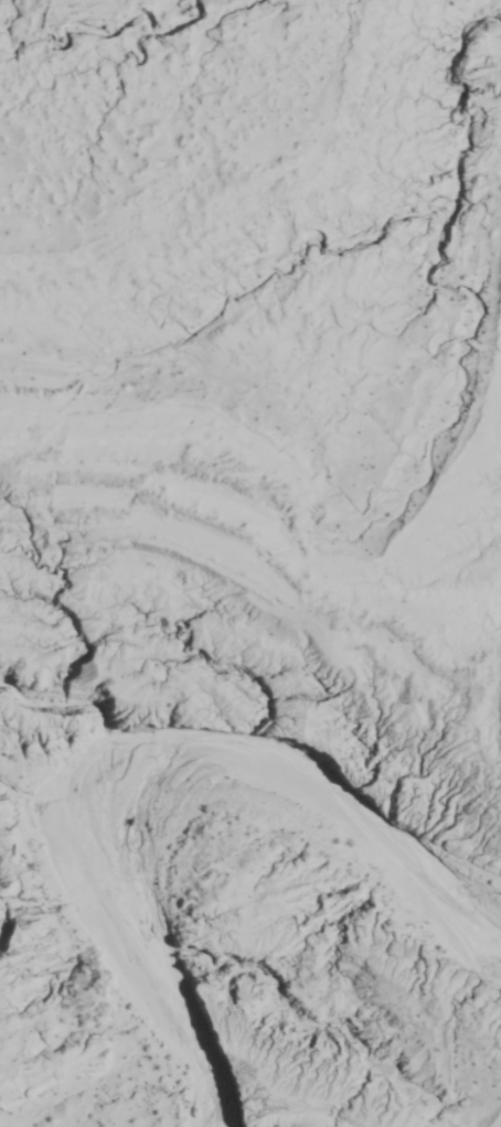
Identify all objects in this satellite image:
road: (124, 741)

